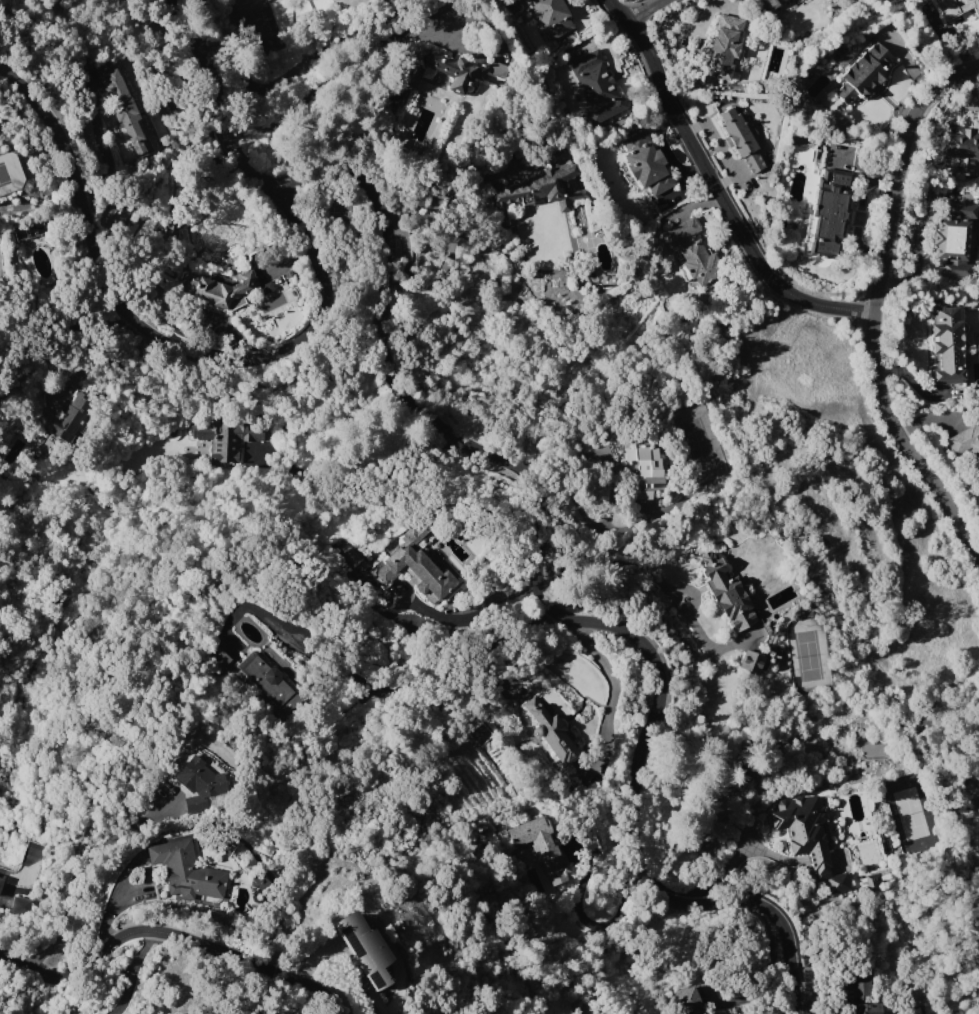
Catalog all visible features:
building: (773, 4)
road: (644, 10)
building: (960, 13)
building: (552, 15)
building: (724, 47)
road: (293, 69)
building: (442, 69)
building: (497, 69)
building: (864, 73)
building: (596, 86)
road: (219, 101)
building: (123, 105)
building: (742, 138)
building: (961, 146)
building: (646, 163)
road: (722, 185)
building: (539, 190)
building: (829, 211)
building: (956, 239)
building: (691, 250)
road: (427, 284)
building: (219, 288)
road: (874, 310)
road: (156, 334)
building: (946, 345)
road: (95, 355)
building: (68, 419)
building: (225, 436)
building: (966, 442)
building: (645, 470)
building: (813, 492)
building: (416, 565)
building: (728, 592)
road: (545, 604)
road: (472, 614)
building: (218, 656)
building: (751, 662)
building: (269, 681)
road: (612, 689)
building: (550, 731)
building: (200, 782)
building: (807, 837)
building: (541, 846)
building: (186, 870)
road: (87, 879)
building: (872, 881)
building: (1, 883)
building: (21, 904)
road: (172, 934)
building: (365, 949)
road: (133, 972)
building: (859, 995)
building: (686, 1000)

